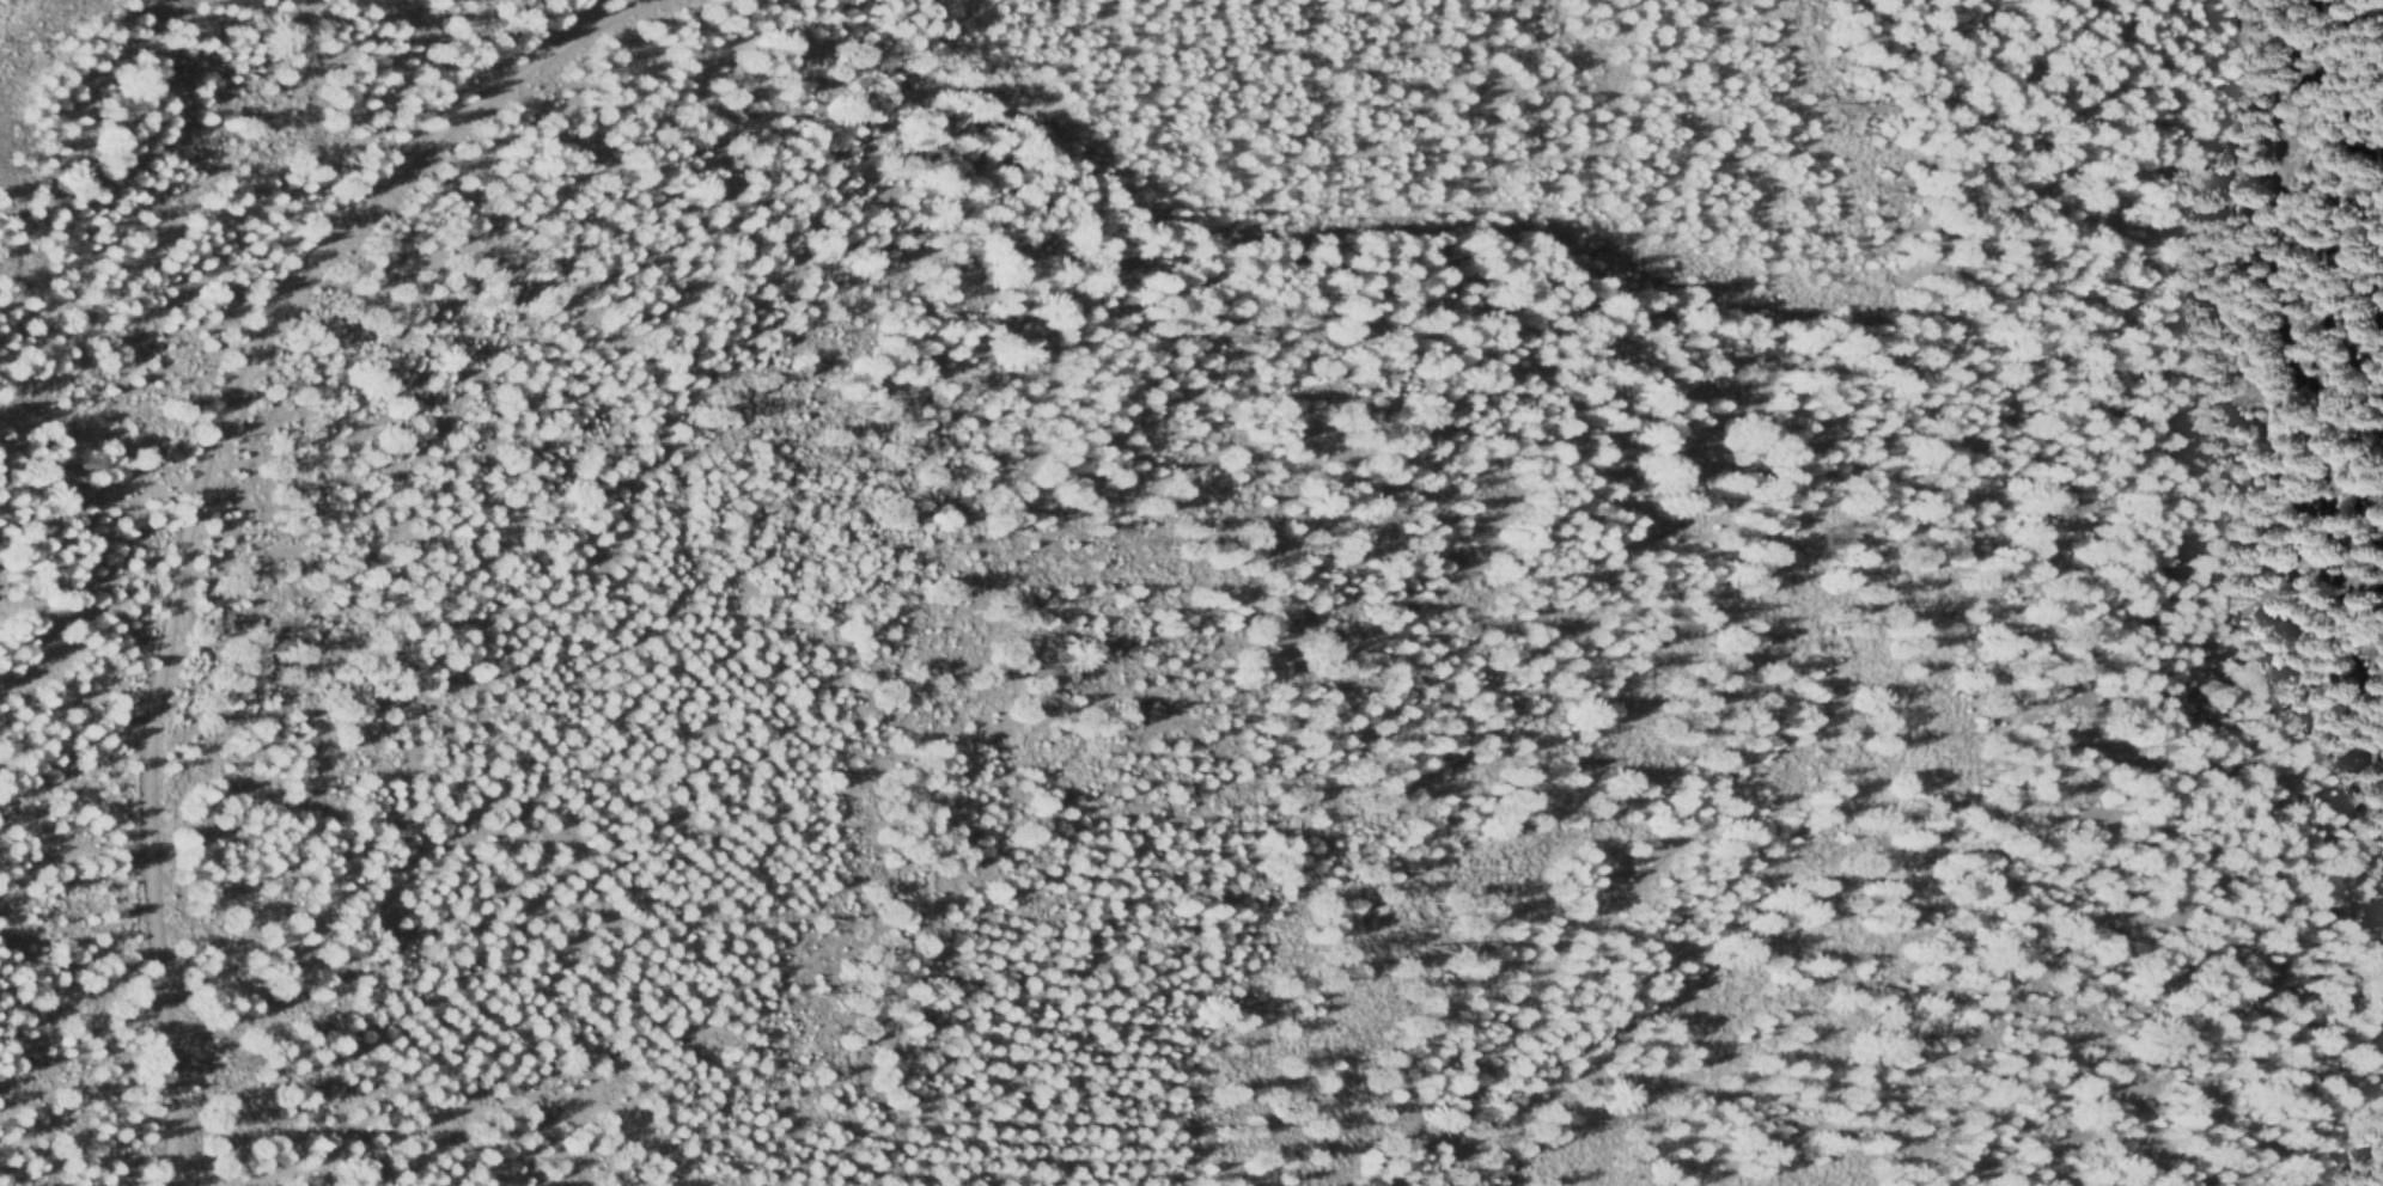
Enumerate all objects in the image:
road: (185, 502)

